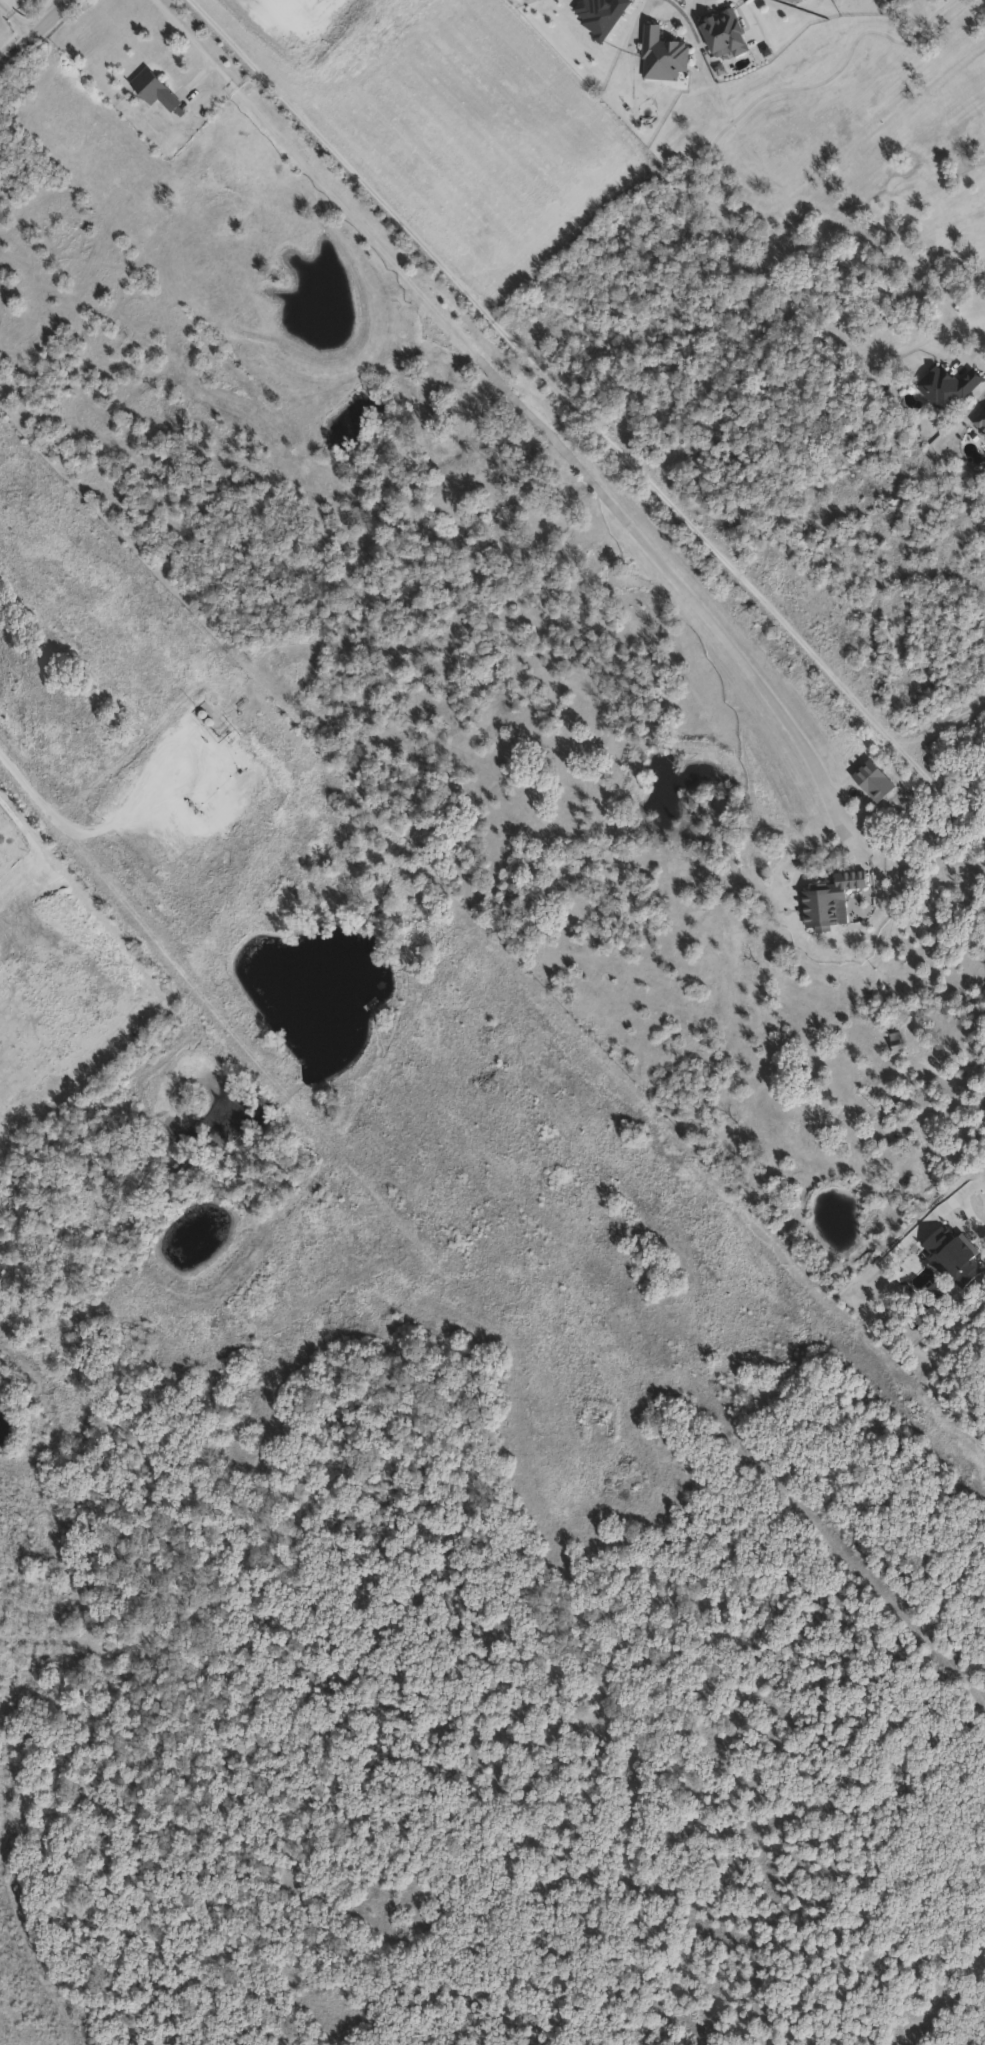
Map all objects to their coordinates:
building: (601, 16)
road: (18, 21)
building: (724, 34)
road: (38, 35)
building: (662, 55)
building: (152, 88)
road: (731, 225)
building: (948, 388)
road: (529, 412)
road: (590, 419)
building: (980, 421)
road: (942, 727)
building: (873, 782)
road: (39, 807)
road: (23, 841)
building: (831, 900)
building: (894, 1044)

